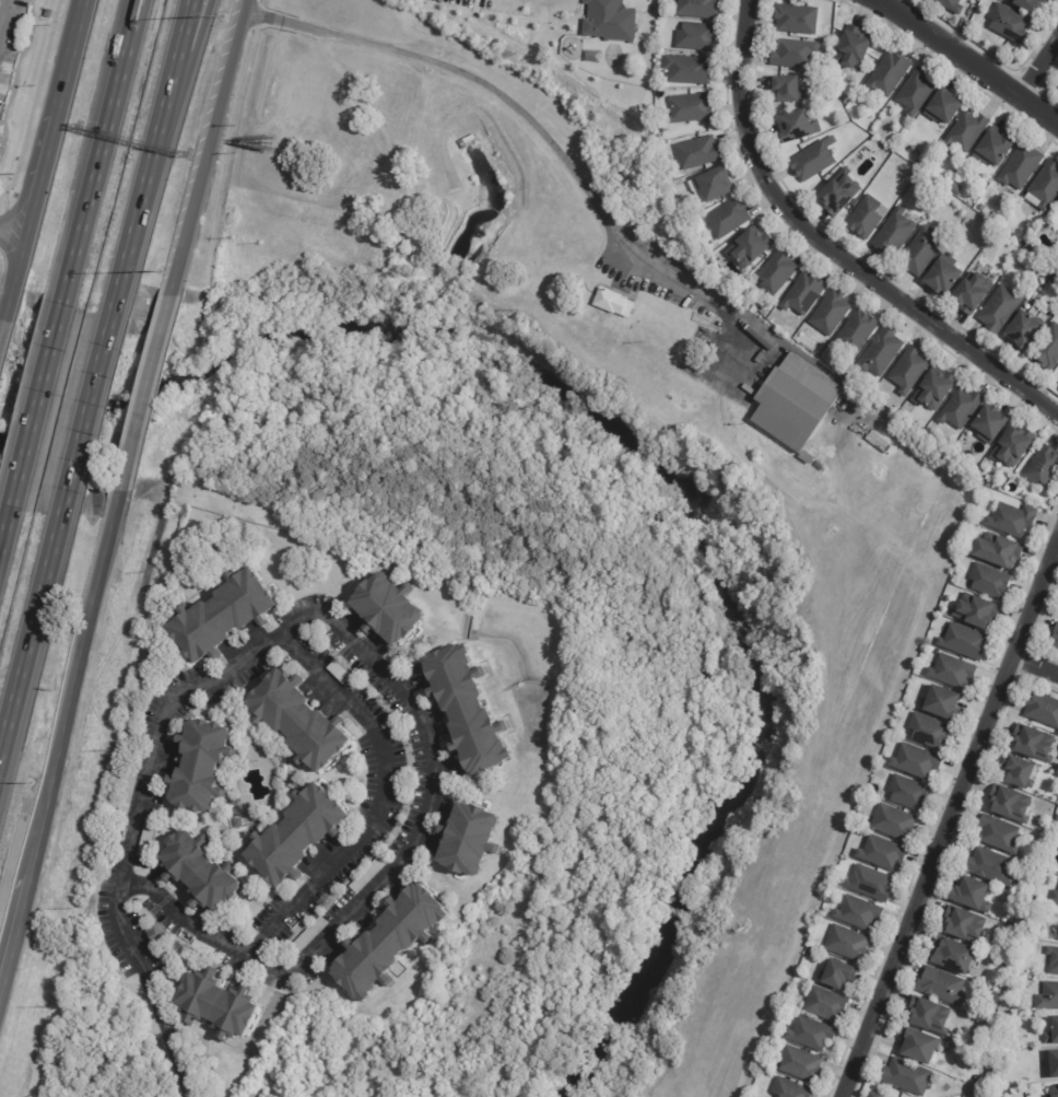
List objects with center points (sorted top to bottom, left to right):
building: (1027, 4)
building: (949, 5)
building: (696, 8)
building: (796, 19)
building: (609, 20)
road: (129, 22)
road: (131, 22)
building: (1008, 24)
building: (695, 36)
building: (854, 47)
building: (792, 54)
road: (975, 55)
road: (71, 59)
road: (1044, 65)
building: (687, 68)
building: (887, 73)
building: (785, 87)
building: (915, 91)
road: (164, 95)
road: (175, 95)
road: (365, 102)
building: (943, 106)
building: (690, 107)
building: (796, 126)
building: (967, 131)
road: (552, 140)
building: (467, 142)
building: (995, 147)
road: (213, 150)
building: (696, 151)
building: (812, 159)
building: (1020, 165)
road: (46, 172)
road: (91, 179)
building: (715, 184)
building: (1044, 186)
building: (956, 188)
building: (838, 194)
building: (1057, 205)
building: (863, 217)
building: (728, 218)
road: (15, 226)
building: (893, 232)
building: (750, 246)
road: (125, 248)
road: (833, 248)
building: (920, 250)
building: (775, 272)
road: (19, 275)
building: (941, 275)
building: (1048, 284)
building: (972, 291)
building: (803, 293)
building: (611, 302)
building: (999, 308)
building: (830, 313)
building: (1024, 330)
building: (855, 332)
road: (3, 336)
building: (1047, 348)
building: (879, 353)
building: (908, 370)
building: (933, 387)
road: (146, 393)
building: (795, 401)
road: (85, 404)
building: (959, 407)
road: (32, 411)
building: (988, 422)
building: (1012, 445)
building: (804, 457)
building: (818, 466)
building: (1042, 466)
building: (1011, 518)
road: (3, 522)
building: (974, 527)
building: (997, 550)
building: (988, 581)
building: (386, 610)
building: (975, 611)
building: (221, 617)
road: (31, 620)
building: (1055, 639)
building: (963, 642)
road: (1033, 669)
building: (951, 672)
building: (337, 673)
building: (941, 703)
building: (466, 709)
building: (1042, 711)
building: (231, 713)
road: (421, 720)
building: (298, 721)
building: (928, 732)
building: (1032, 744)
road: (67, 750)
building: (914, 761)
building: (198, 766)
building: (1019, 773)
building: (907, 793)
building: (126, 794)
road: (380, 800)
building: (1010, 805)
road: (948, 820)
building: (892, 822)
building: (235, 824)
building: (998, 835)
building: (295, 836)
building: (145, 839)
building: (468, 839)
building: (881, 853)
building: (991, 867)
building: (199, 874)
building: (367, 874)
building: (869, 884)
building: (969, 895)
building: (1054, 898)
building: (1022, 901)
building: (857, 913)
building: (1056, 922)
building: (964, 926)
building: (153, 936)
building: (306, 937)
building: (389, 942)
building: (846, 944)
building: (200, 949)
building: (950, 955)
building: (1001, 960)
building: (1053, 960)
building: (836, 975)
building: (941, 987)
road: (153, 988)
building: (989, 994)
building: (1048, 996)
building: (216, 1005)
building: (824, 1005)
building: (929, 1016)
building: (1051, 1032)
building: (809, 1034)
building: (917, 1047)
building: (799, 1064)
building: (1053, 1065)
building: (764, 1066)
building: (991, 1067)
building: (906, 1077)
building: (790, 1089)
building: (1053, 1090)
building: (873, 1095)

